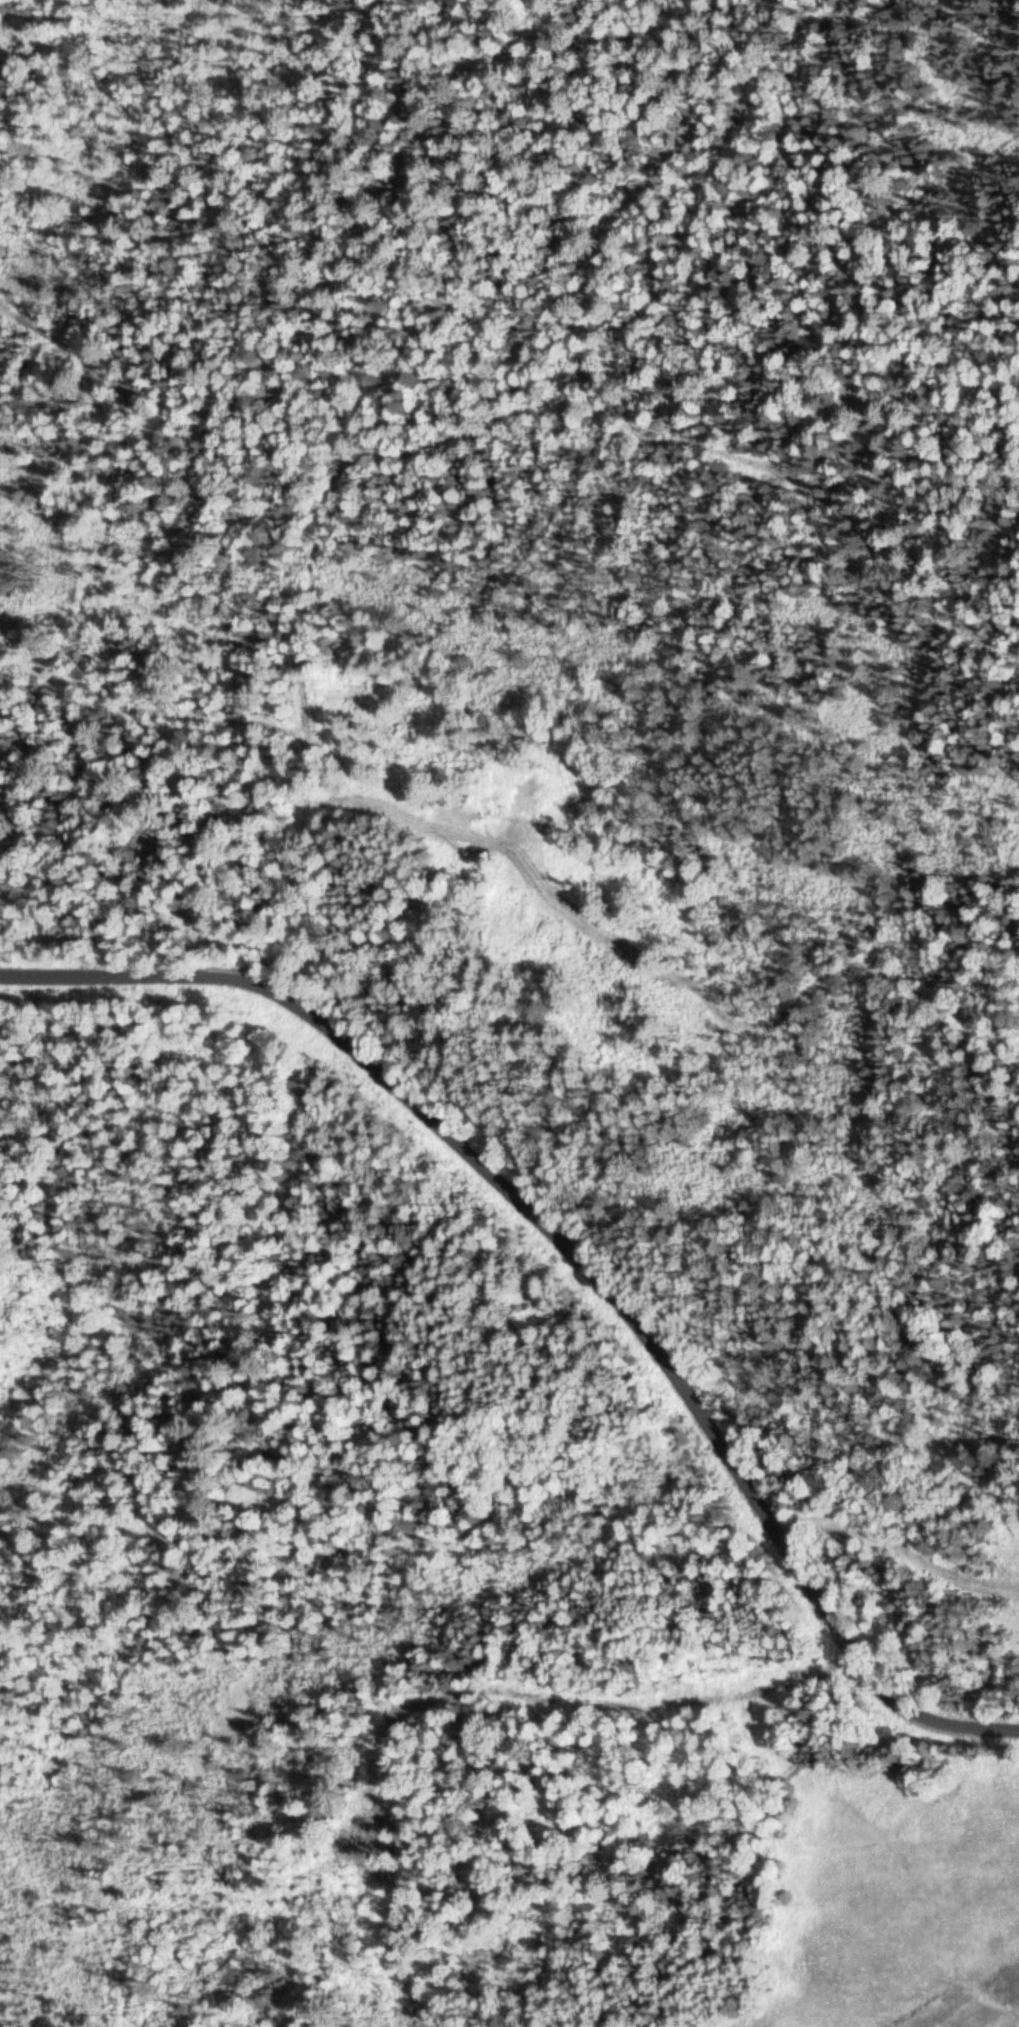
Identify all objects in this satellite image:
road: (581, 1252)
road: (904, 1548)

